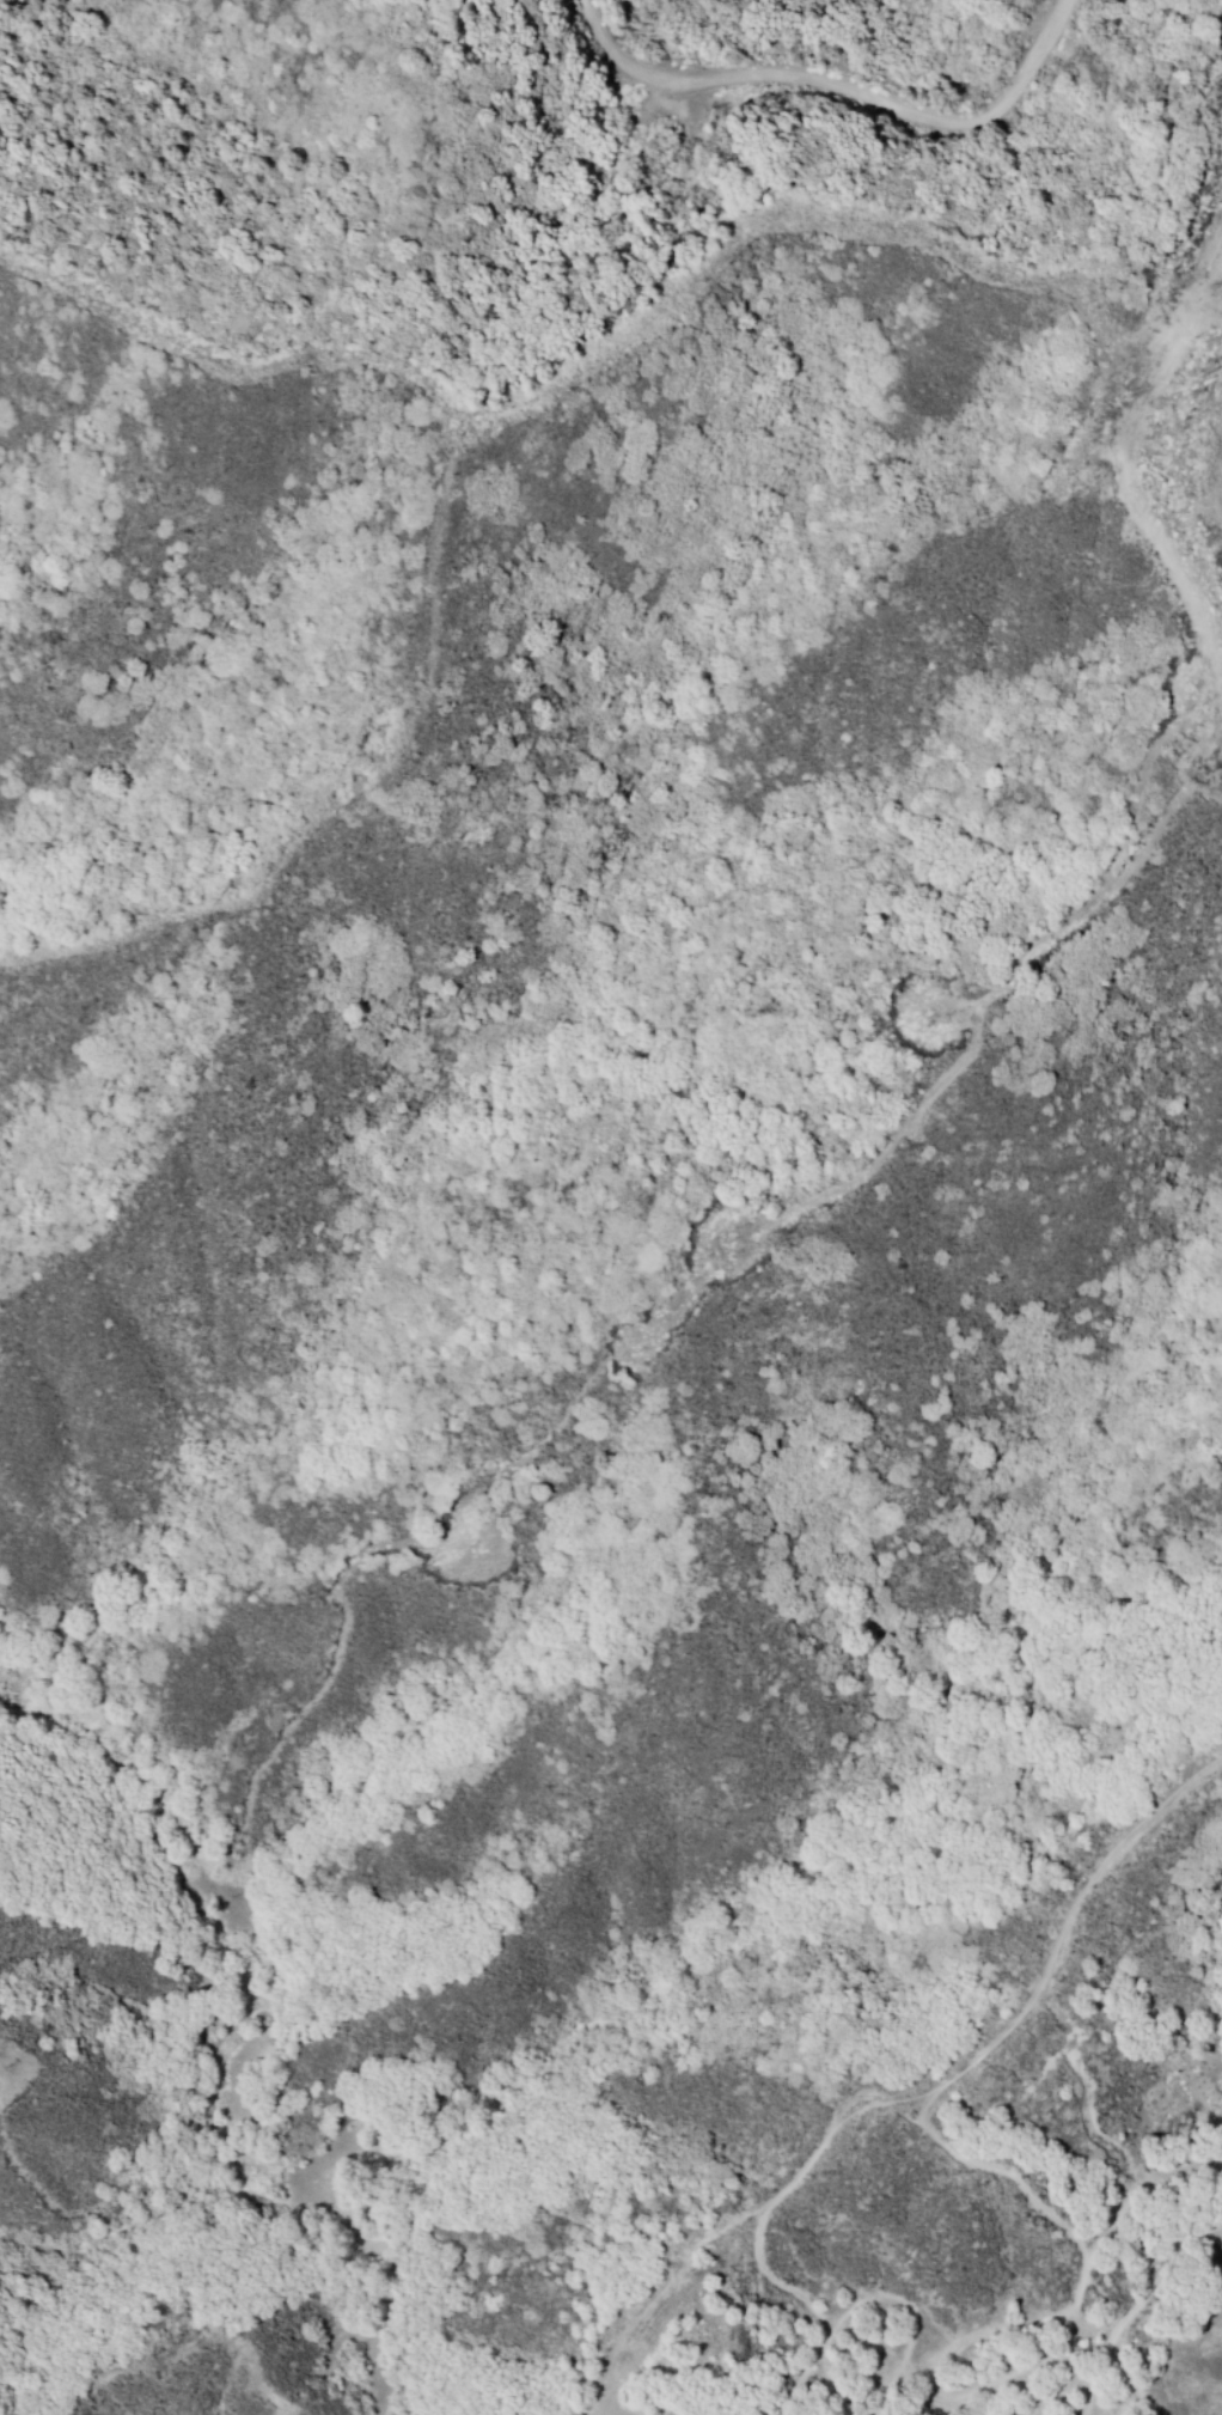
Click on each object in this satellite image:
road: (838, 91)
road: (1206, 262)
road: (697, 275)
road: (1139, 518)
road: (1218, 742)
road: (1198, 768)
road: (1013, 957)
road: (961, 1000)
road: (1009, 2029)

